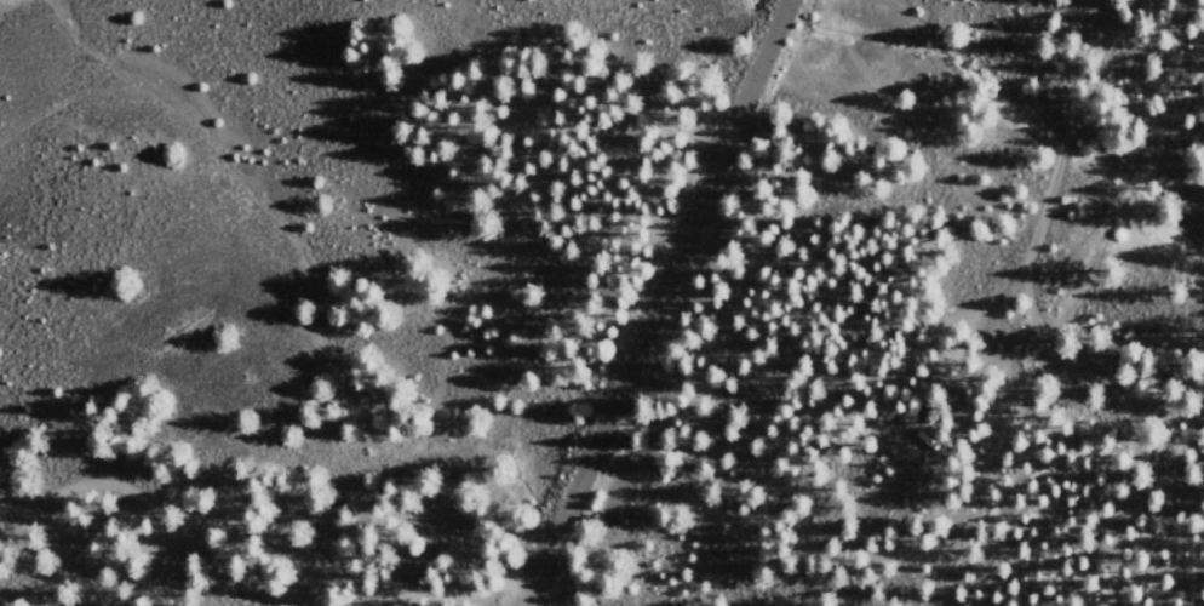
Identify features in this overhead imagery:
road: (1054, 69)
road: (1168, 130)
road: (655, 303)
road: (1072, 358)
road: (979, 454)

